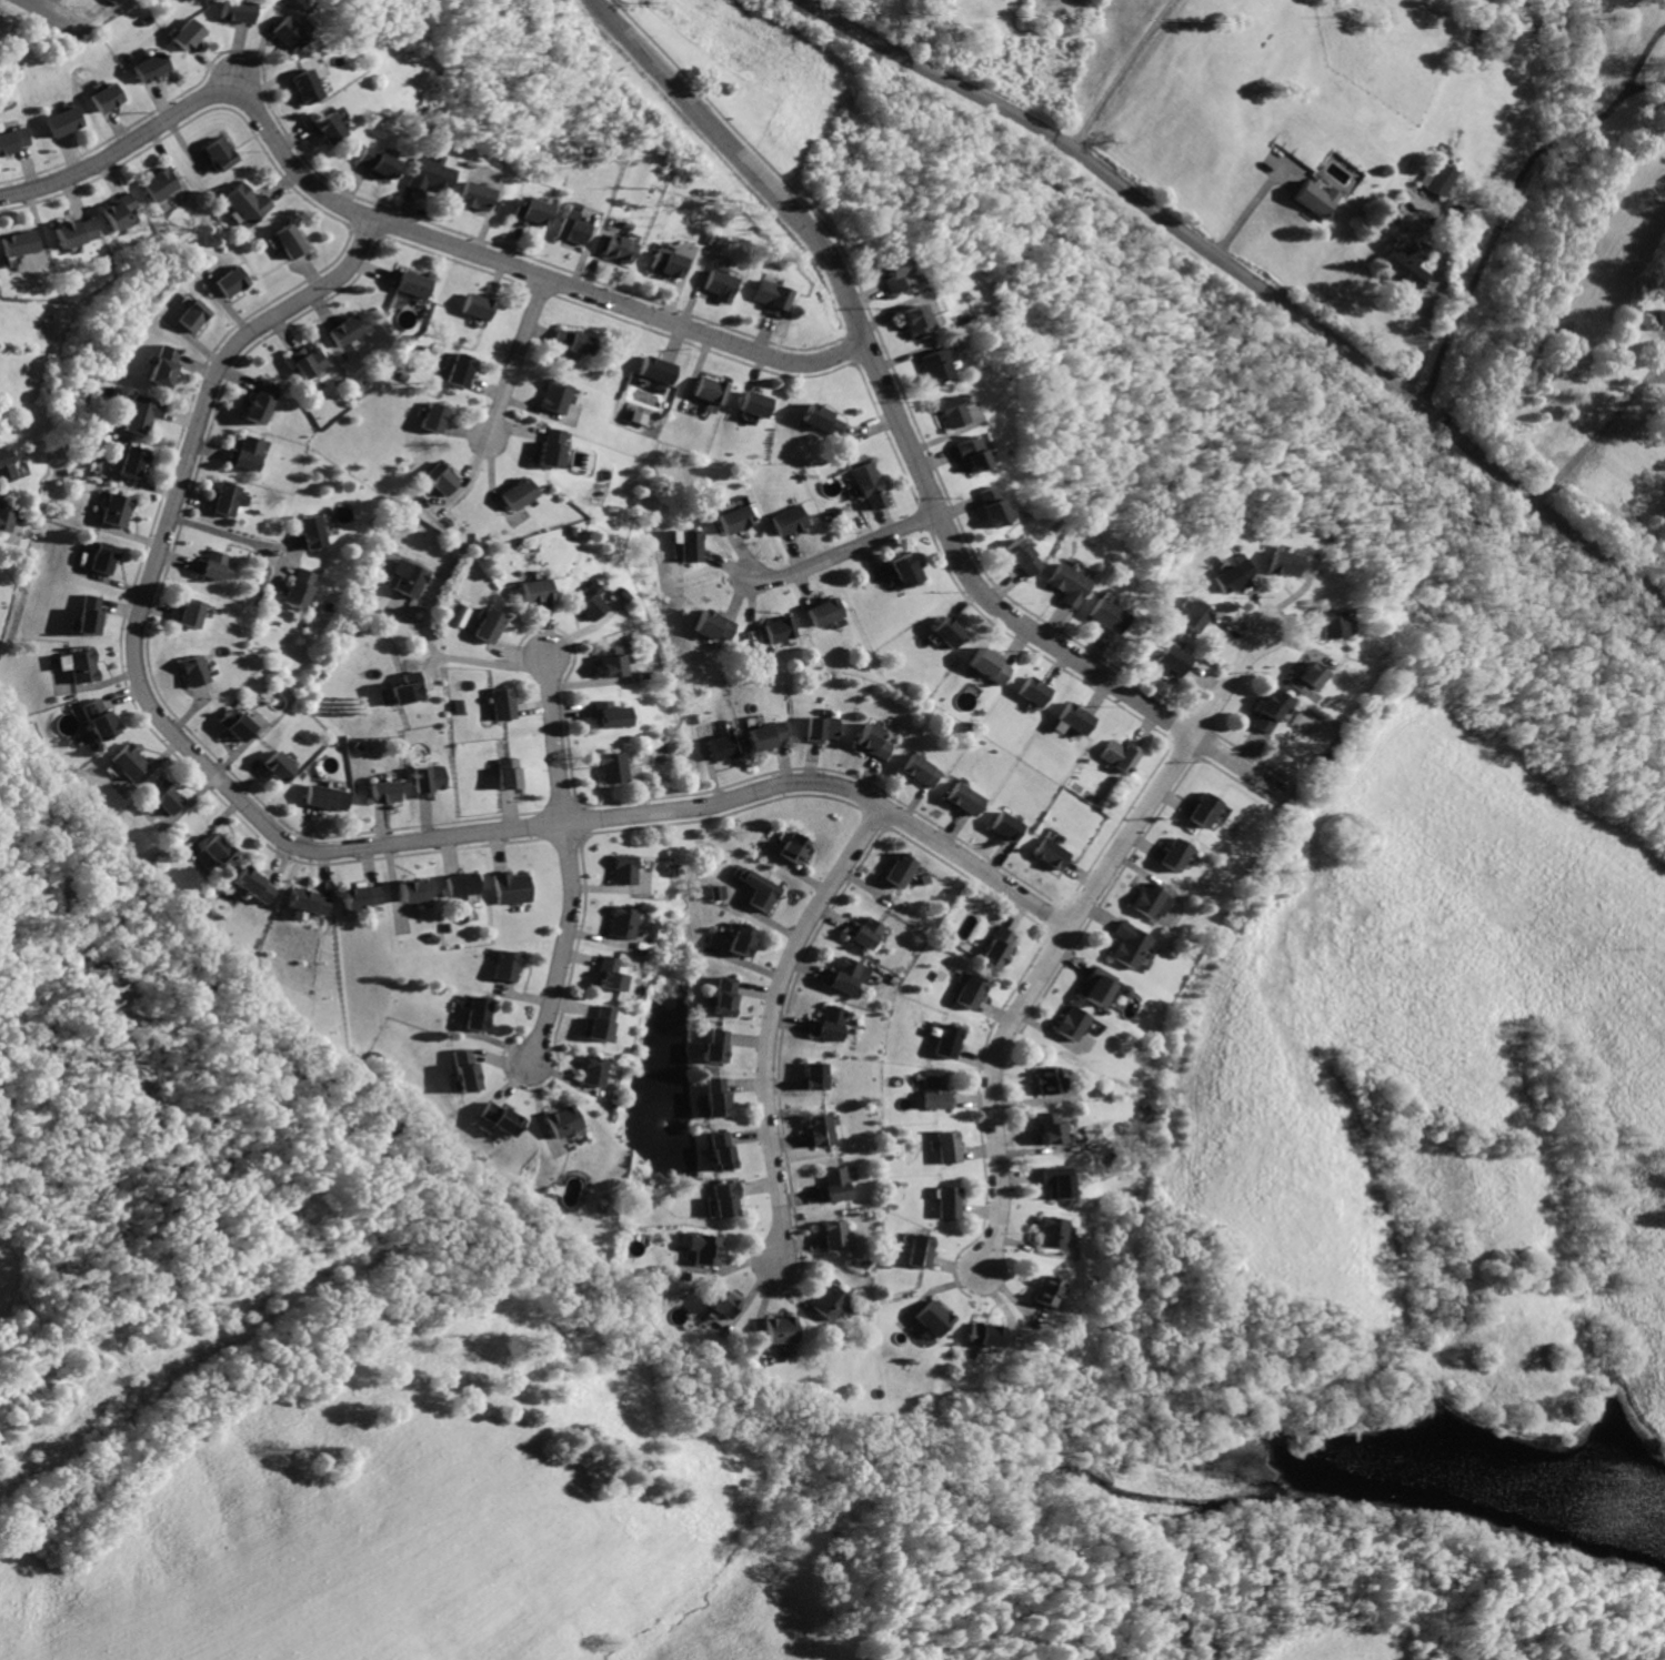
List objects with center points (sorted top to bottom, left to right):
building: (104, 2)
building: (234, 10)
road: (57, 17)
building: (187, 33)
building: (288, 33)
road: (1642, 62)
building: (150, 67)
crop: (1178, 70)
road: (1122, 73)
building: (305, 85)
building: (108, 95)
building: (64, 120)
building: (329, 128)
building: (13, 139)
building: (221, 153)
building: (375, 161)
building: (427, 173)
building: (1443, 178)
building: (160, 183)
building: (471, 195)
building: (1320, 199)
road: (1260, 202)
building: (248, 203)
building: (117, 210)
building: (523, 211)
road: (1508, 211)
building: (569, 228)
road: (404, 230)
building: (72, 231)
building: (292, 241)
building: (19, 242)
building: (619, 249)
building: (664, 262)
building: (1410, 268)
building: (891, 273)
road: (1250, 278)
building: (233, 280)
building: (413, 282)
building: (719, 282)
road: (1430, 285)
road: (1434, 290)
building: (770, 296)
building: (475, 304)
building: (195, 315)
building: (1662, 319)
building: (910, 322)
building: (347, 329)
building: (572, 340)
road: (516, 359)
building: (312, 363)
building: (164, 365)
building: (932, 366)
building: (460, 369)
building: (659, 369)
building: (713, 390)
building: (555, 396)
building: (262, 402)
building: (758, 404)
building: (950, 413)
building: (143, 414)
building: (433, 415)
building: (822, 417)
road: (1602, 431)
road: (903, 435)
building: (551, 447)
building: (250, 451)
building: (971, 453)
building: (134, 461)
building: (6, 465)
building: (445, 480)
building: (870, 485)
building: (518, 493)
building: (231, 499)
building: (991, 506)
building: (118, 510)
building: (4, 515)
building: (739, 517)
building: (791, 517)
road: (220, 531)
building: (314, 531)
road: (287, 543)
building: (692, 545)
road: (844, 552)
building: (104, 557)
building: (1020, 557)
building: (1280, 563)
road: (278, 564)
building: (213, 565)
building: (905, 570)
building: (1227, 574)
building: (409, 577)
building: (1064, 584)
building: (301, 588)
building: (536, 588)
building: (588, 603)
building: (826, 611)
building: (194, 612)
building: (458, 613)
building: (89, 614)
building: (1103, 615)
building: (1191, 615)
building: (715, 623)
building: (1327, 623)
road: (414, 624)
building: (489, 625)
building: (782, 627)
building: (949, 631)
building: (1170, 658)
building: (610, 661)
road: (494, 663)
building: (986, 665)
building: (86, 666)
building: (198, 671)
road: (434, 672)
building: (1303, 677)
building: (409, 687)
building: (1033, 691)
building: (503, 704)
building: (1270, 711)
building: (608, 714)
building: (101, 718)
building: (1074, 718)
building: (237, 725)
building: (822, 728)
building: (768, 735)
building: (874, 742)
building: (724, 745)
building: (1121, 754)
building: (131, 763)
building: (280, 765)
building: (612, 768)
building: (922, 771)
building: (506, 773)
building: (431, 779)
building: (387, 791)
building: (327, 797)
building: (169, 798)
building: (966, 798)
building: (1204, 811)
building: (1006, 826)
building: (795, 847)
building: (220, 848)
road: (319, 851)
building: (1053, 853)
building: (1177, 854)
road: (570, 863)
building: (623, 869)
building: (901, 869)
building: (462, 883)
building: (254, 885)
building: (511, 886)
building: (417, 888)
building: (763, 889)
building: (721, 892)
building: (364, 895)
building: (310, 901)
building: (1153, 901)
building: (623, 920)
building: (865, 932)
road: (1071, 933)
building: (745, 939)
building: (1132, 944)
building: (999, 946)
building: (508, 966)
building: (612, 974)
building: (847, 975)
building: (1102, 985)
building: (973, 990)
building: (726, 996)
building: (480, 1013)
building: (603, 1023)
road: (775, 1023)
building: (1074, 1023)
building: (831, 1024)
building: (952, 1040)
building: (718, 1046)
building: (467, 1068)
building: (596, 1070)
crop: (1444, 1073)
building: (819, 1076)
building: (1050, 1079)
building: (940, 1091)
building: (719, 1096)
building: (499, 1117)
building: (563, 1119)
building: (1050, 1127)
building: (823, 1129)
building: (951, 1147)
crop: (3, 1149)
building: (724, 1149)
building: (1057, 1181)
building: (835, 1184)
building: (729, 1197)
building: (952, 1203)
building: (1053, 1231)
building: (837, 1235)
building: (708, 1247)
building: (921, 1251)
building: (1047, 1291)
building: (726, 1301)
building: (833, 1301)
building: (937, 1319)
building: (784, 1329)
building: (987, 1335)
crop: (394, 1483)
crop: (1386, 1642)

